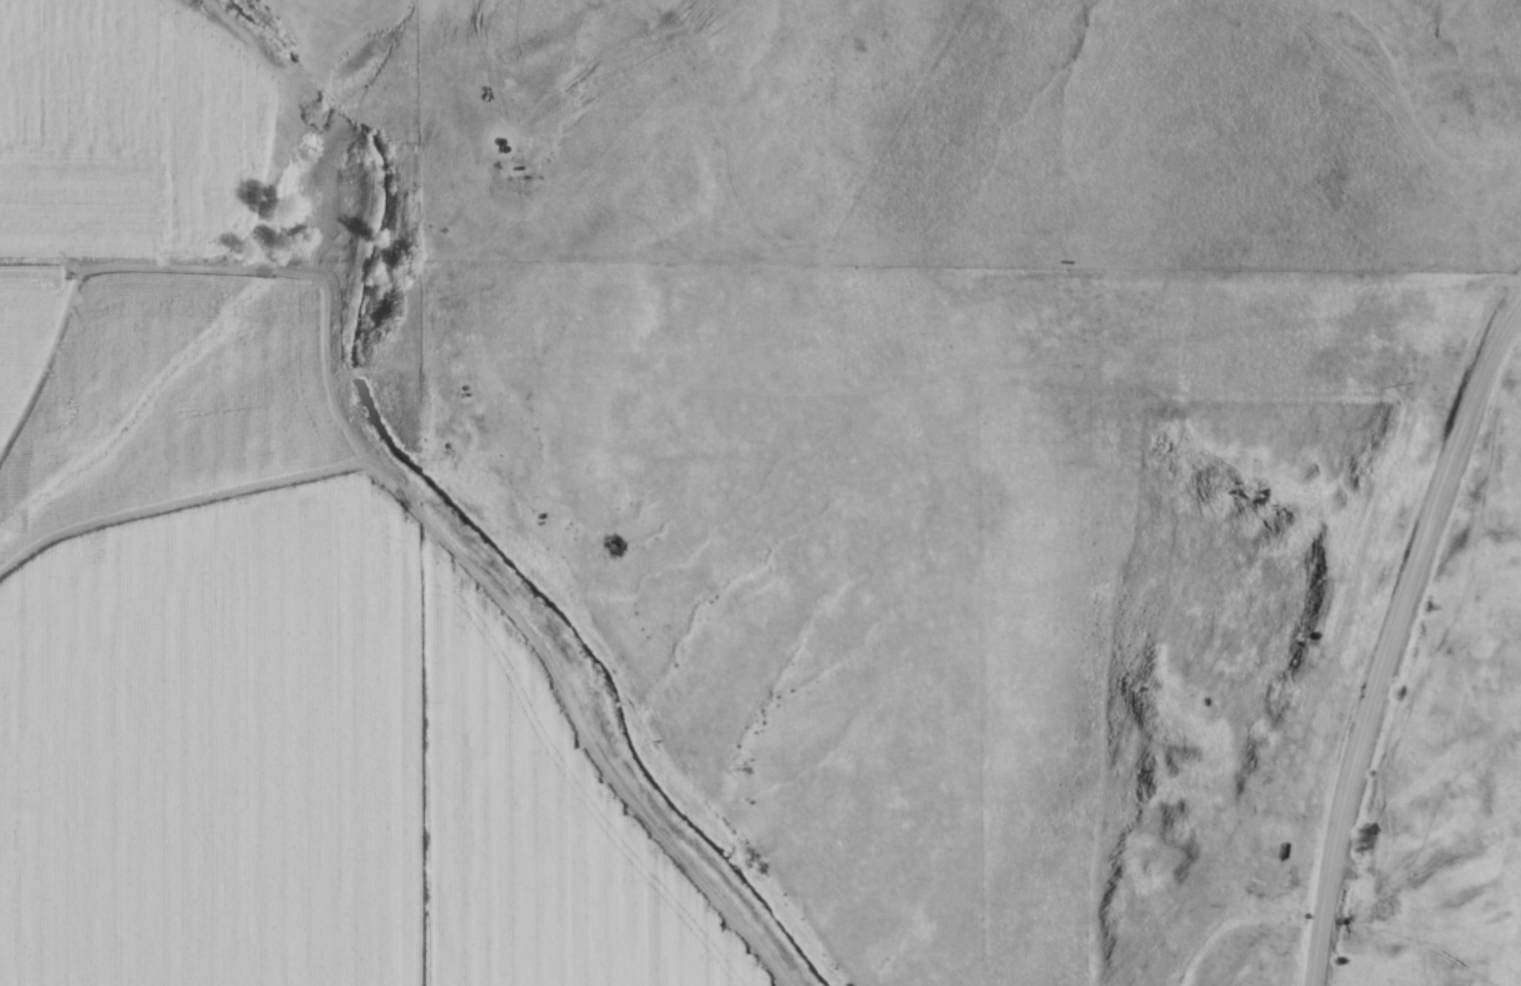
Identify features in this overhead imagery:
road: (1392, 637)

